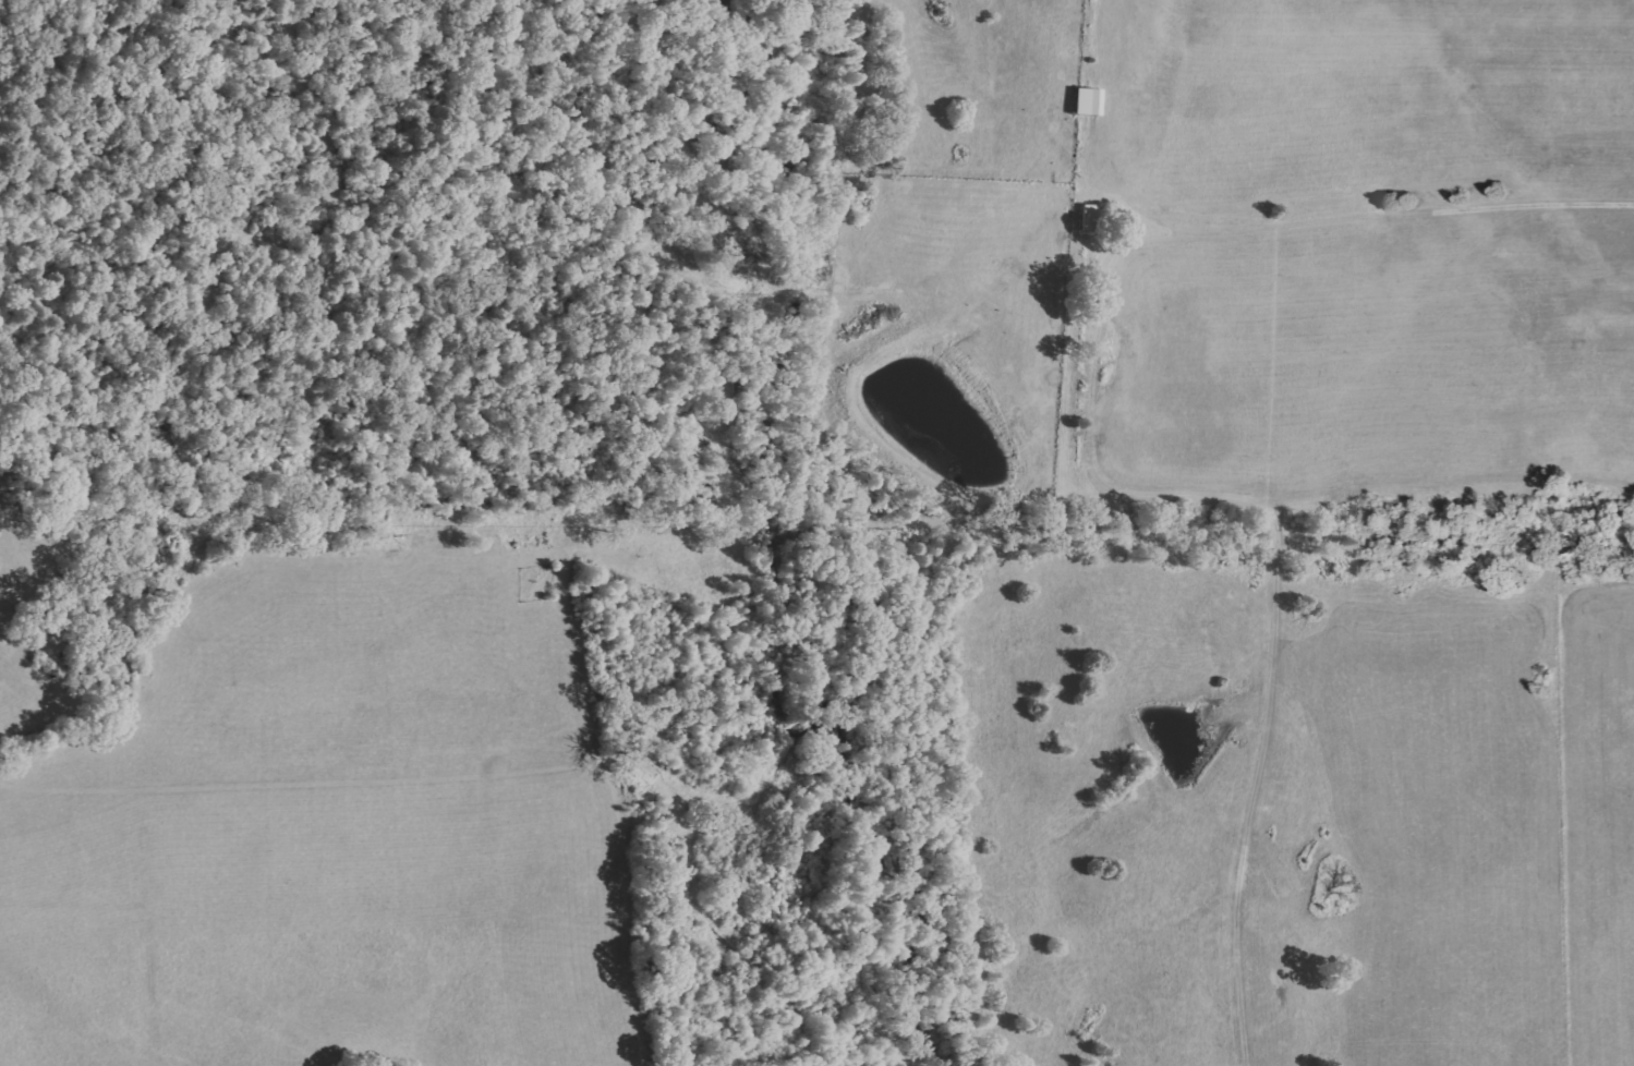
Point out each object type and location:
building: (1091, 101)
building: (1093, 218)

